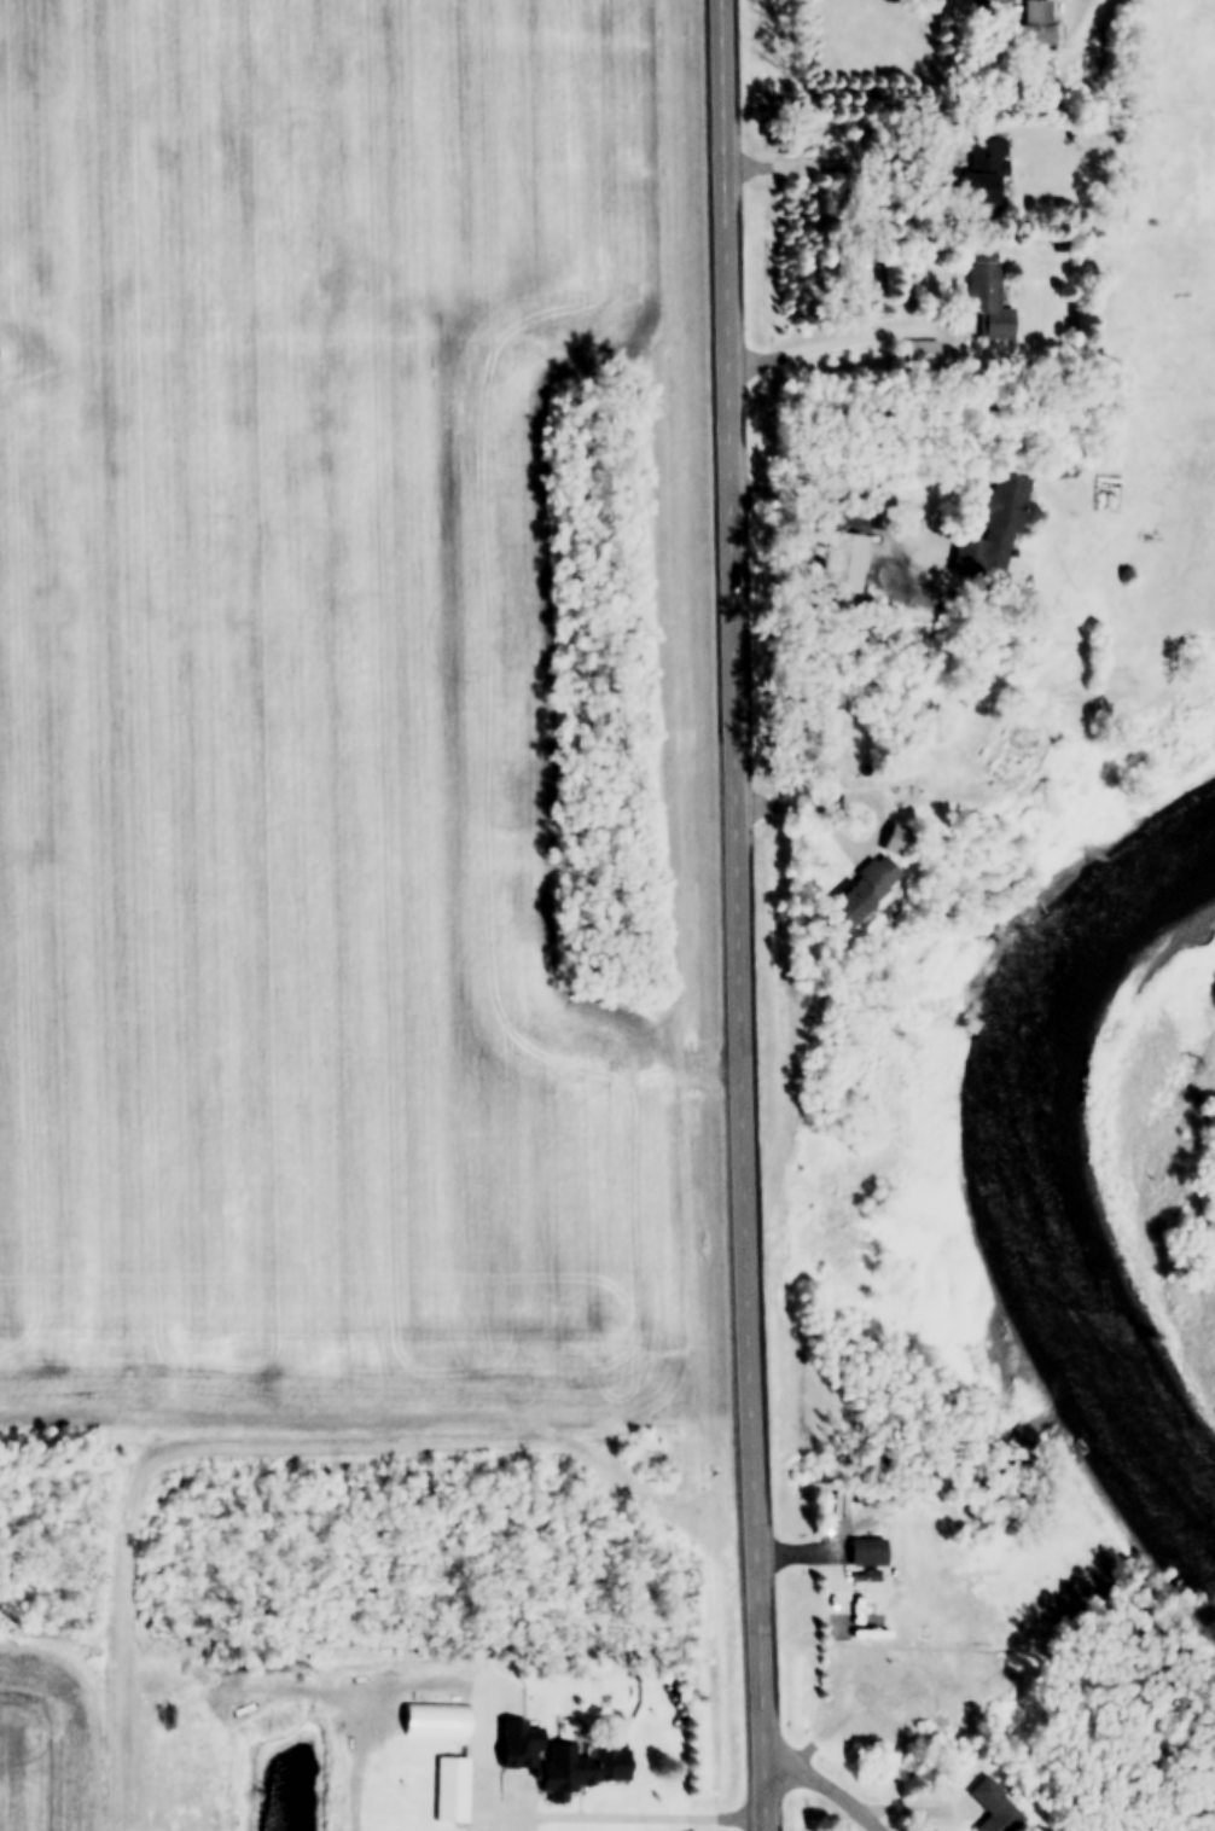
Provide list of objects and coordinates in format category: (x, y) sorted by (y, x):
building: (1031, 28)
road: (841, 163)
building: (981, 170)
building: (1059, 243)
building: (986, 292)
road: (851, 339)
road: (860, 492)
building: (1000, 515)
crop: (312, 720)
building: (1010, 751)
building: (833, 765)
road: (820, 798)
building: (896, 839)
building: (856, 894)
road: (742, 915)
river: (1064, 1185)
building: (865, 1548)
building: (874, 1667)
building: (877, 1710)
building: (434, 1717)
building: (521, 1755)
crop: (42, 1759)
building: (581, 1769)
road: (826, 1784)
building: (449, 1788)
building: (992, 1806)
road: (621, 1818)

